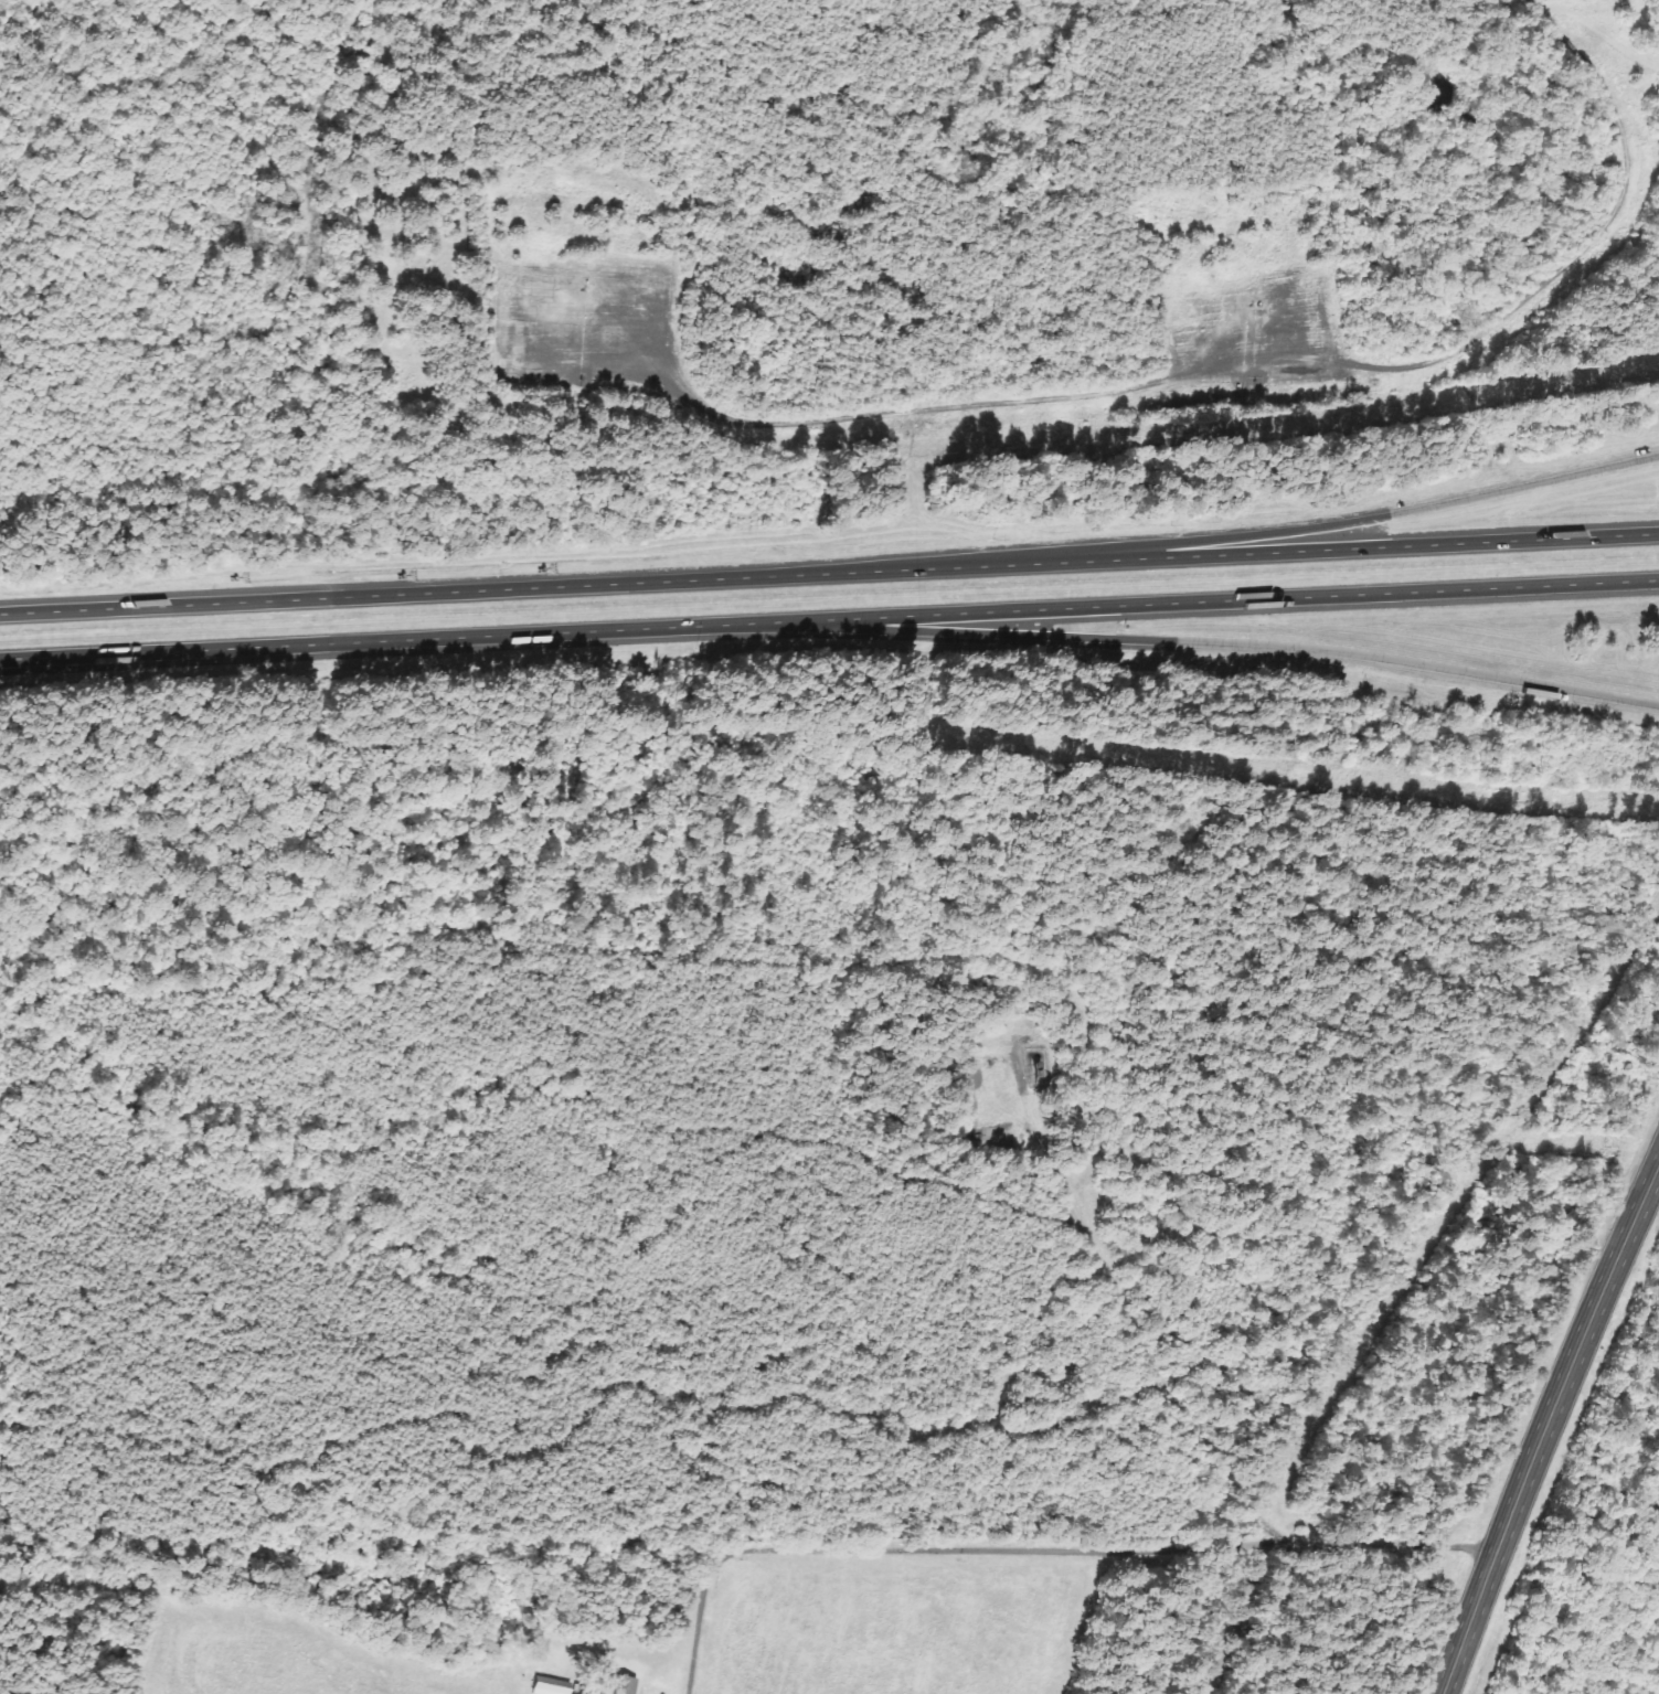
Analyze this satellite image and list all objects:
road: (1635, 41)
road: (1288, 532)
road: (829, 573)
road: (829, 617)
road: (1185, 640)
road: (1546, 1426)
building: (620, 1685)
building: (549, 1686)

